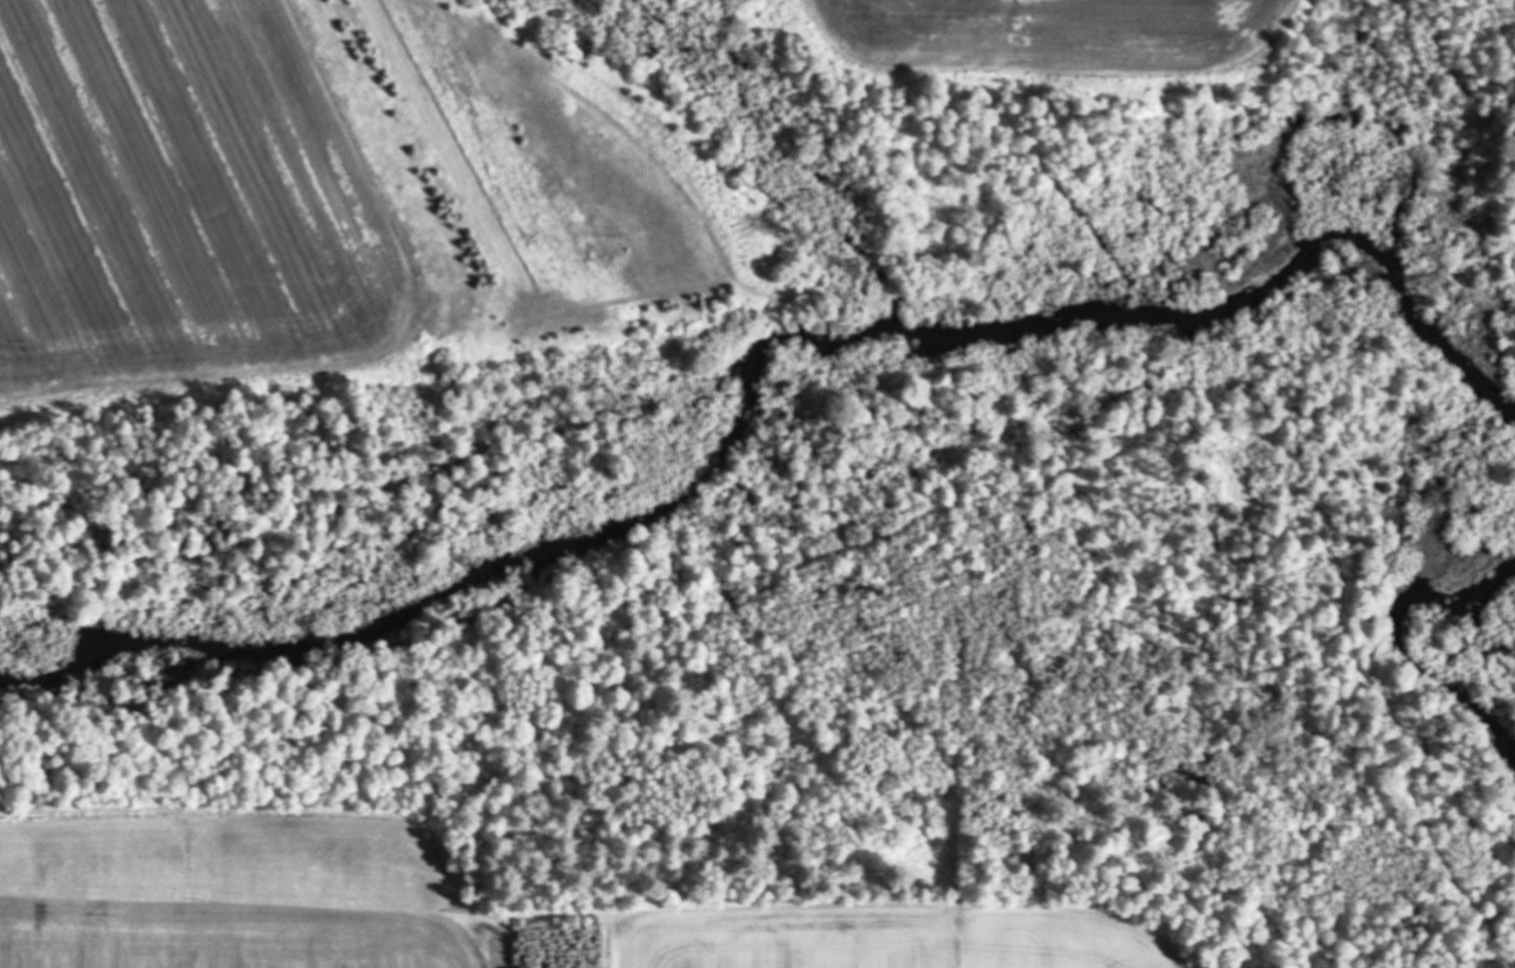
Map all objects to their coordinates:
river: (1287, 182)
river: (482, 572)
river: (1412, 645)

